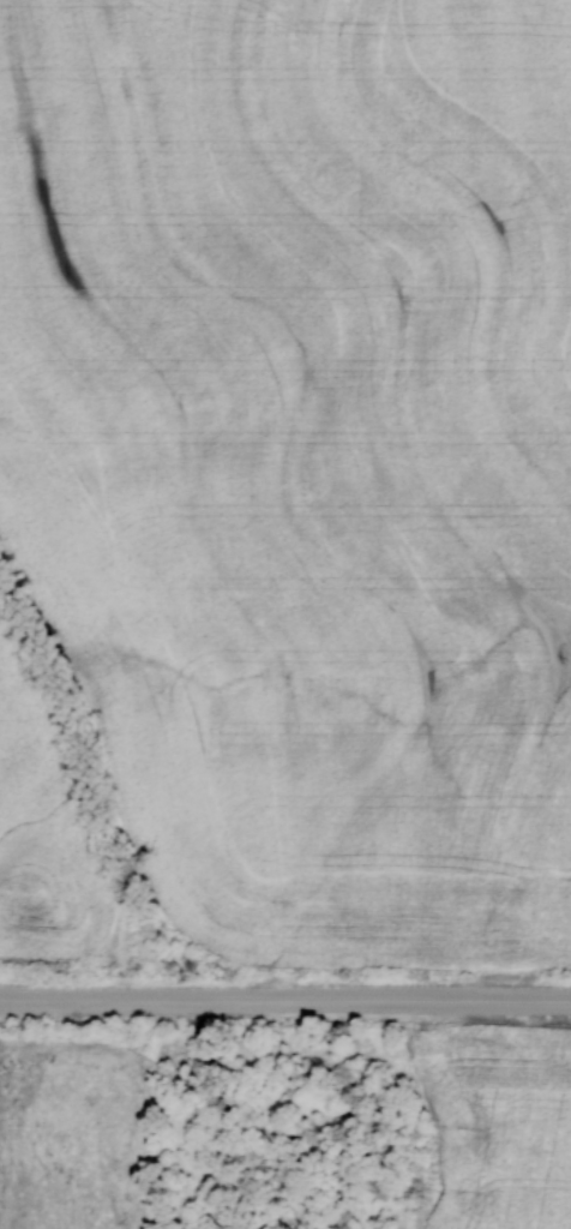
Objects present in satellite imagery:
road: (285, 1000)

